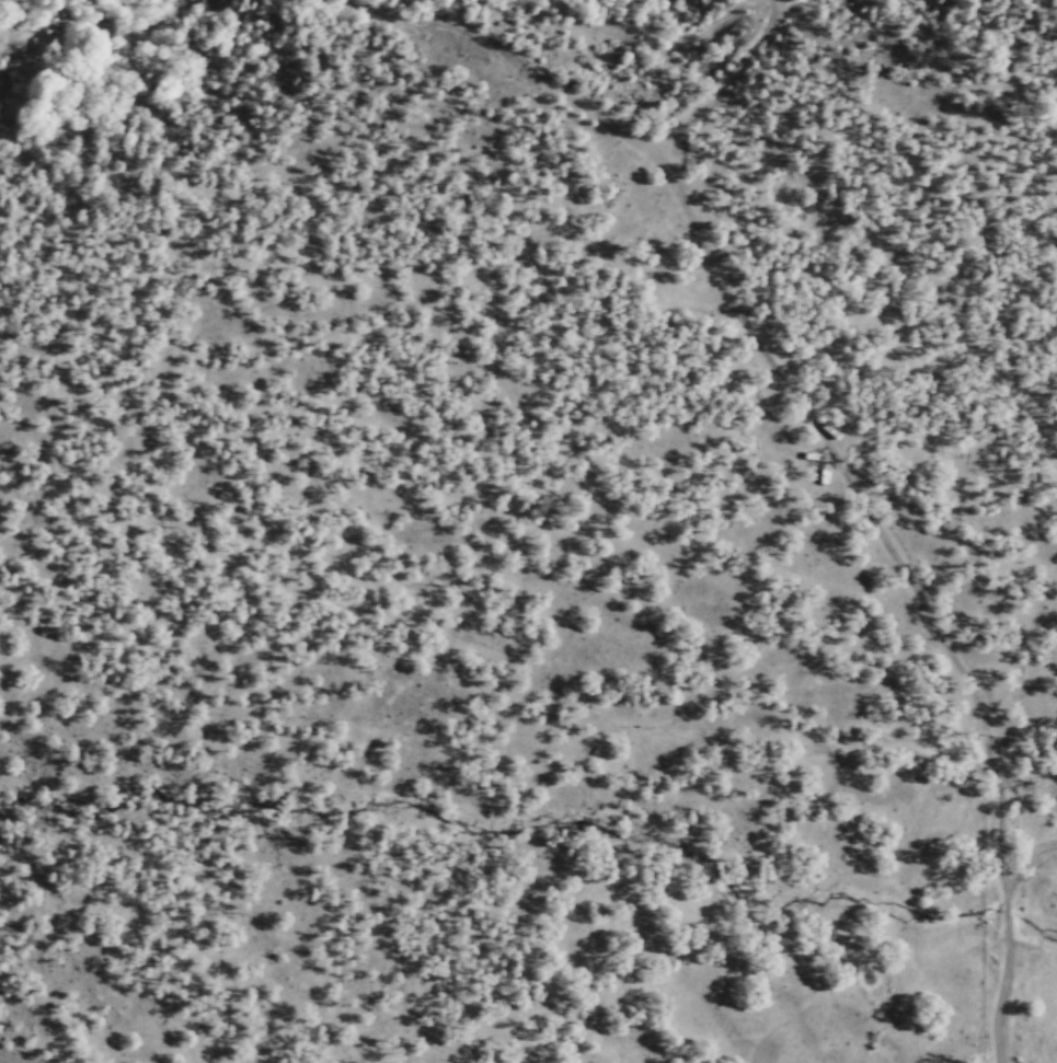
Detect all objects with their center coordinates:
road: (1013, 954)

